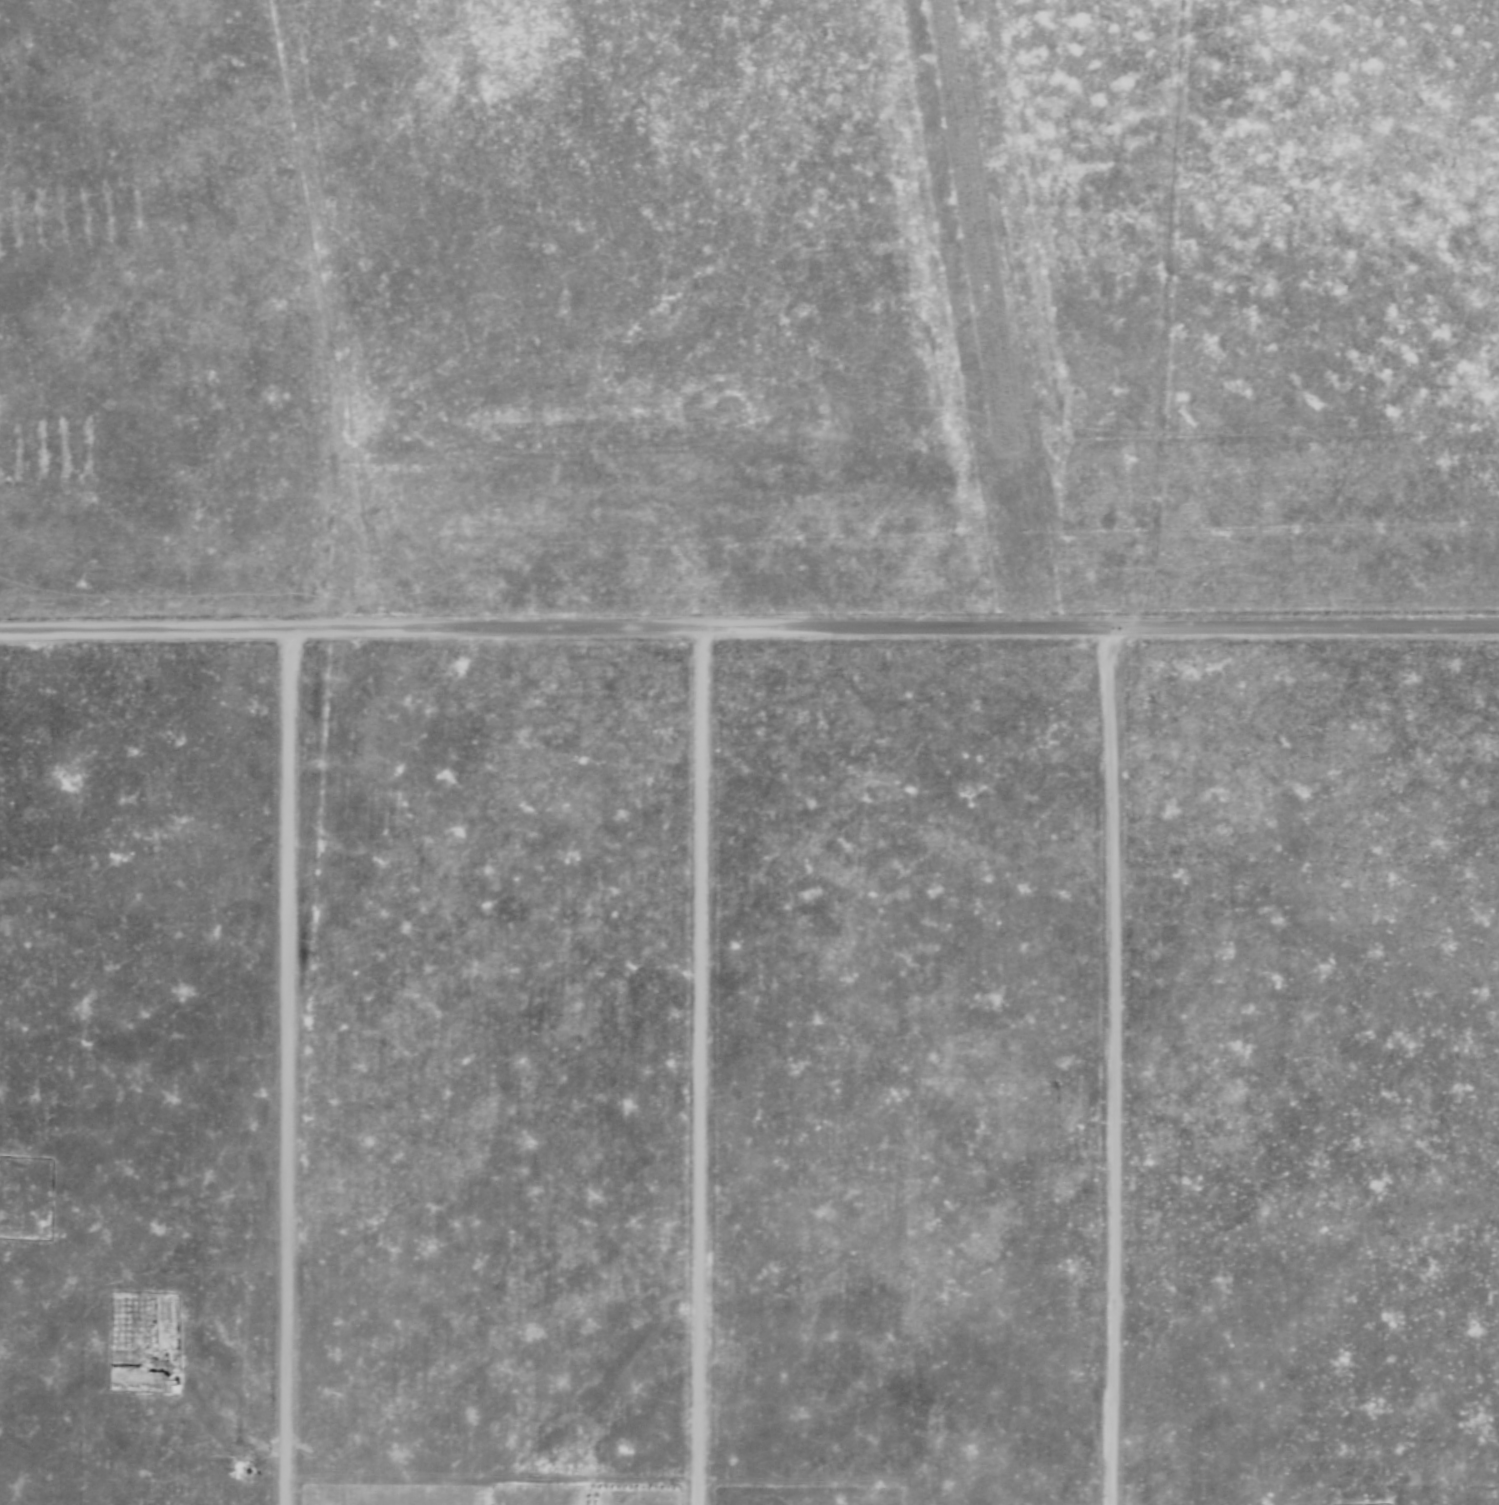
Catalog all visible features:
road: (749, 629)
road: (282, 1067)
road: (694, 1067)
road: (1106, 1067)

